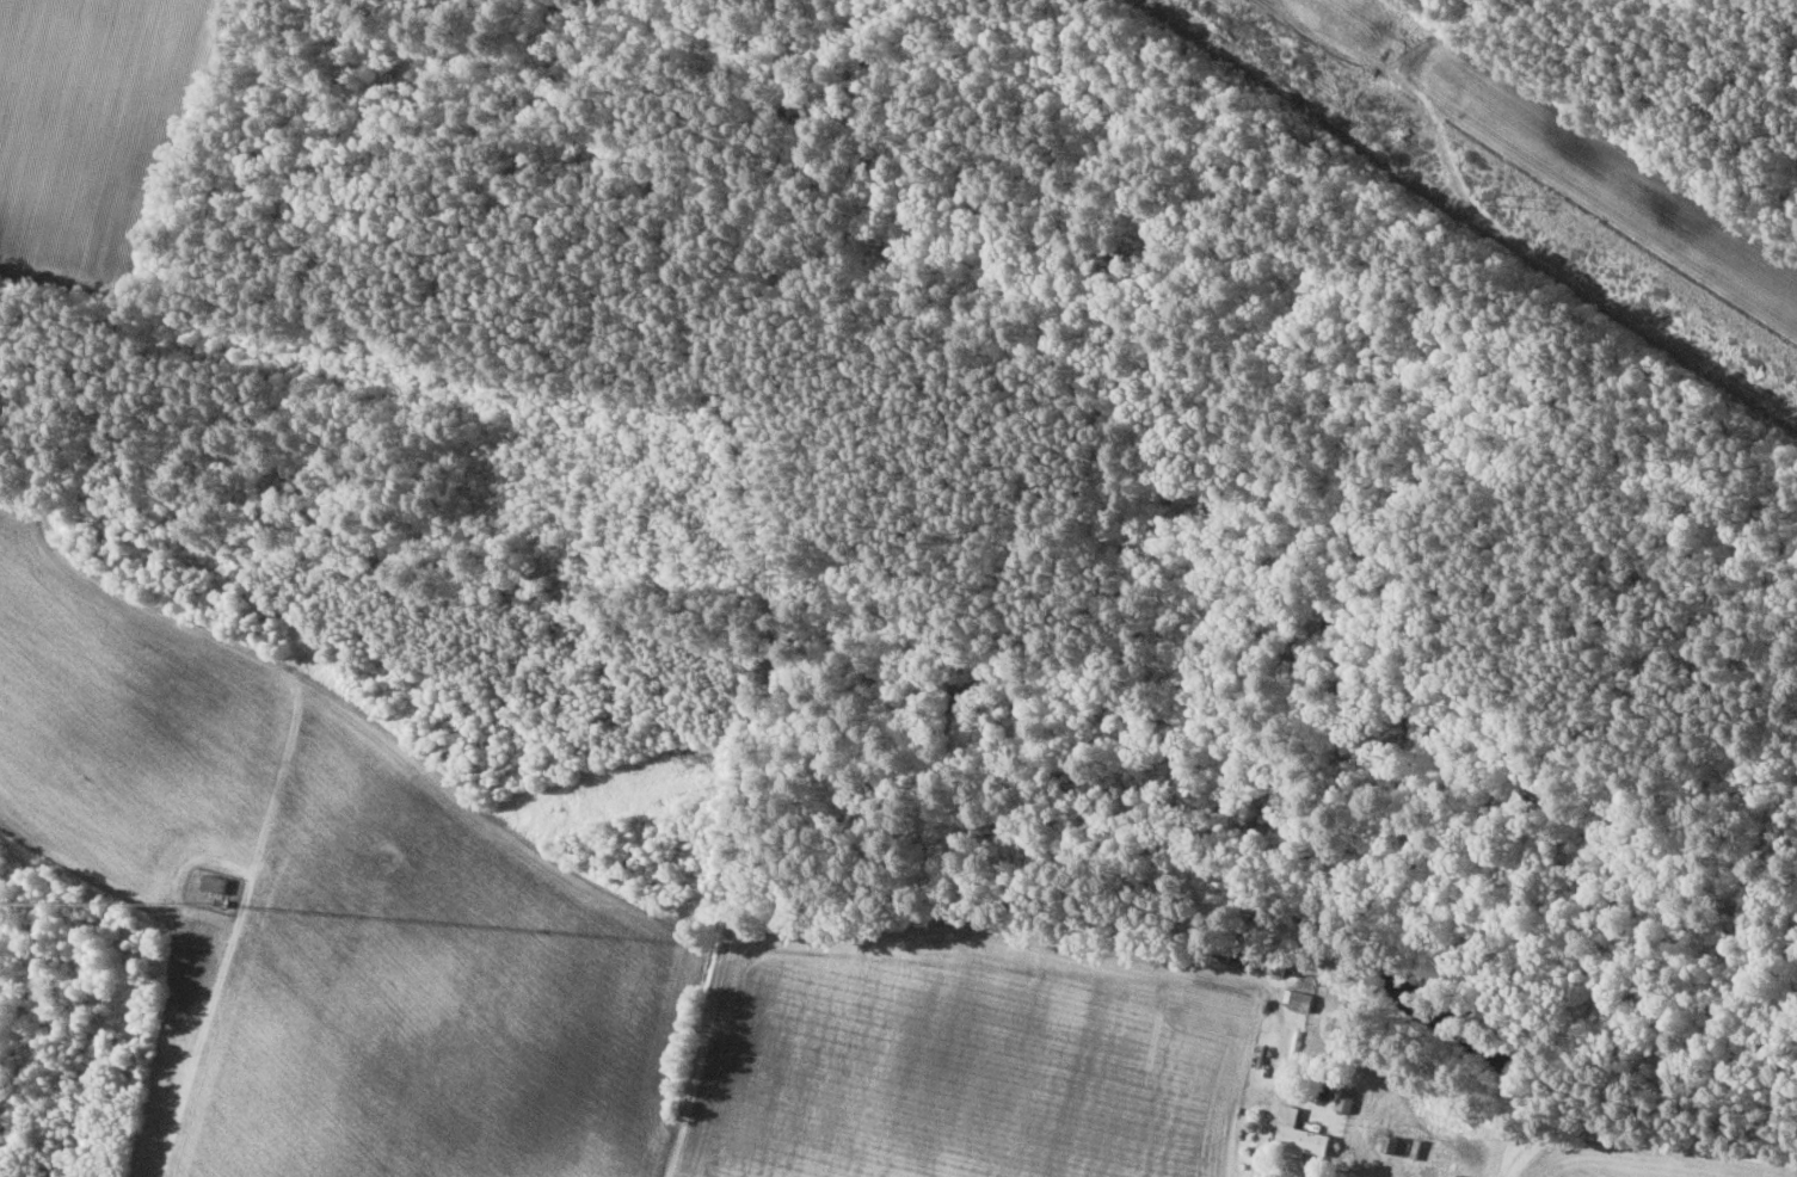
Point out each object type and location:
power tower: (1502, 197)
road: (765, 584)
building: (215, 882)
building: (1303, 999)
road: (210, 1006)
building: (1299, 1133)
road: (1643, 1140)
building: (1392, 1142)
road: (1256, 1164)

